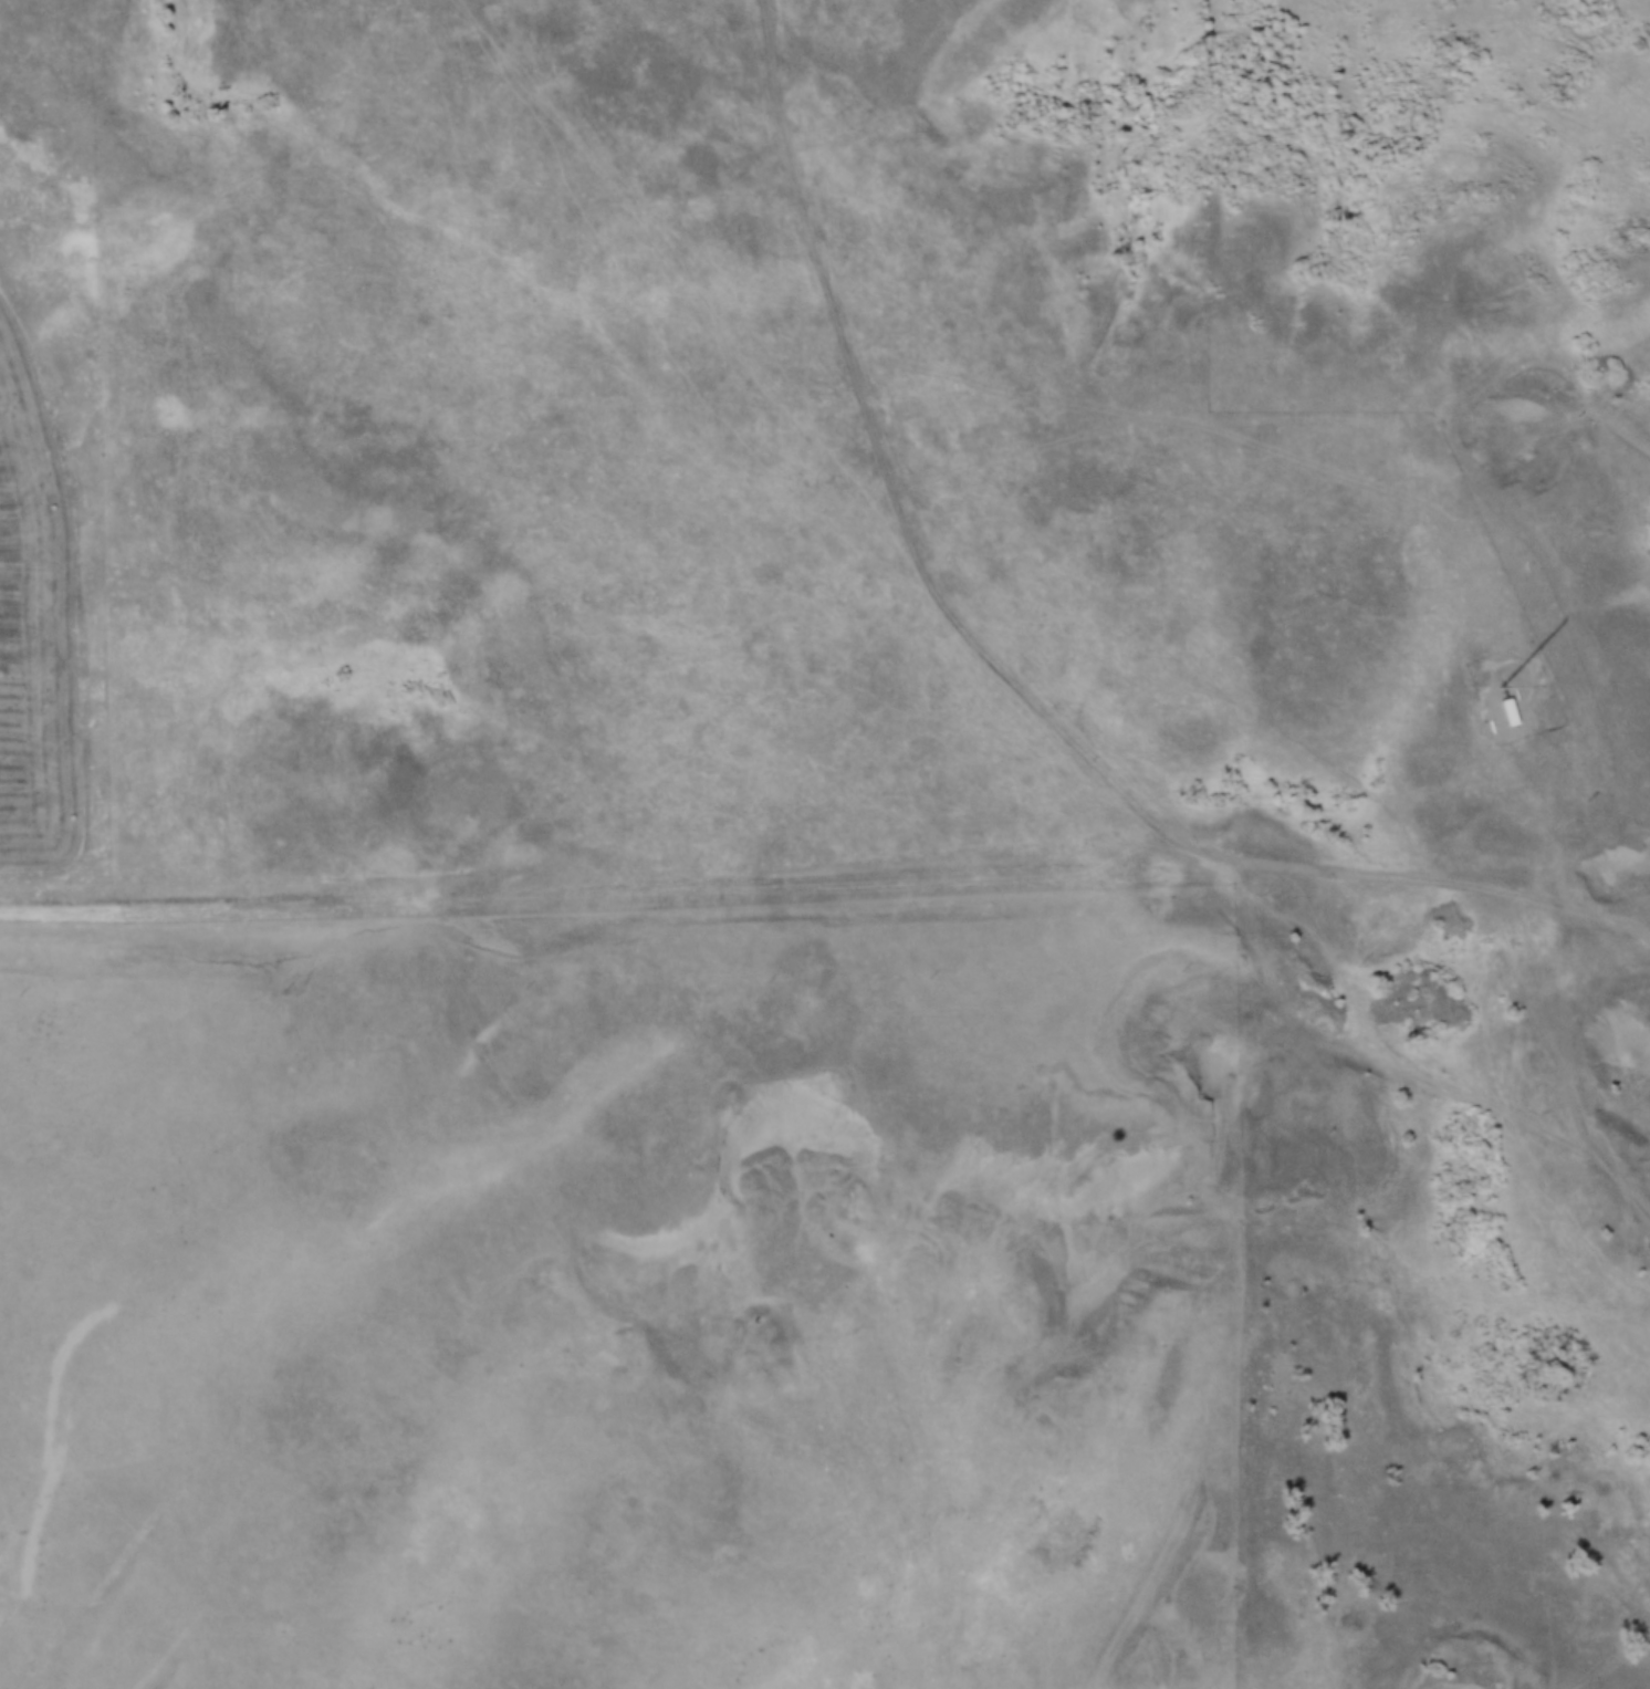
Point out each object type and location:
road: (1016, 654)
building: (1494, 680)
storage tank: (1498, 697)

